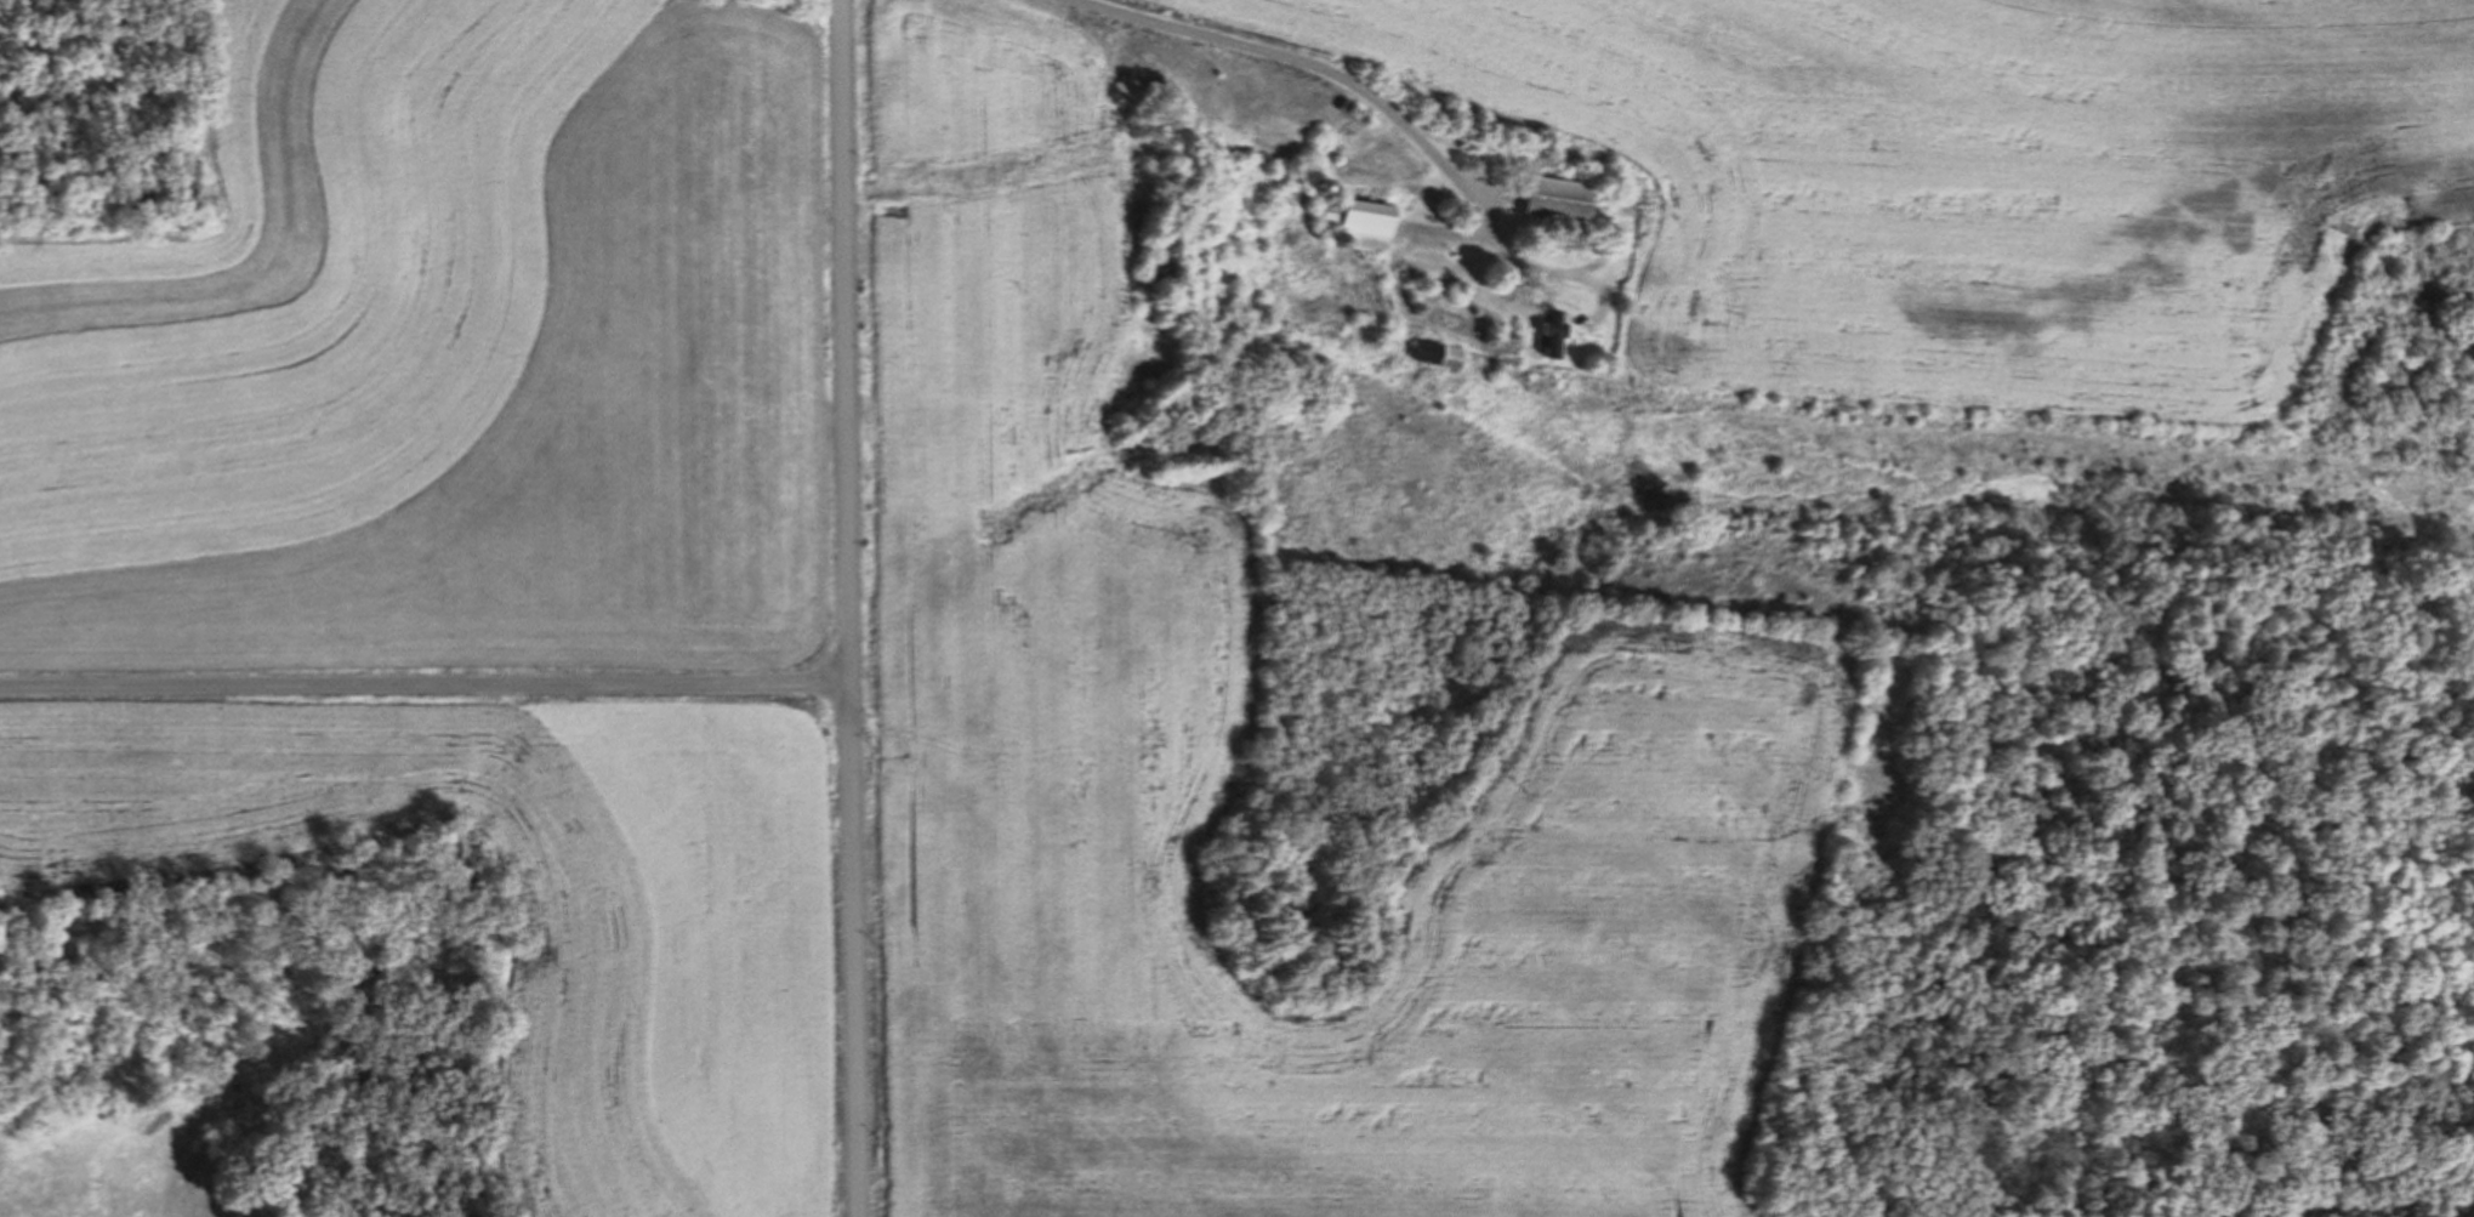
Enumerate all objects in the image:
road: (1390, 113)
building: (1565, 198)
building: (1365, 220)
building: (1557, 331)
building: (1444, 353)
road: (848, 608)
road: (425, 686)

